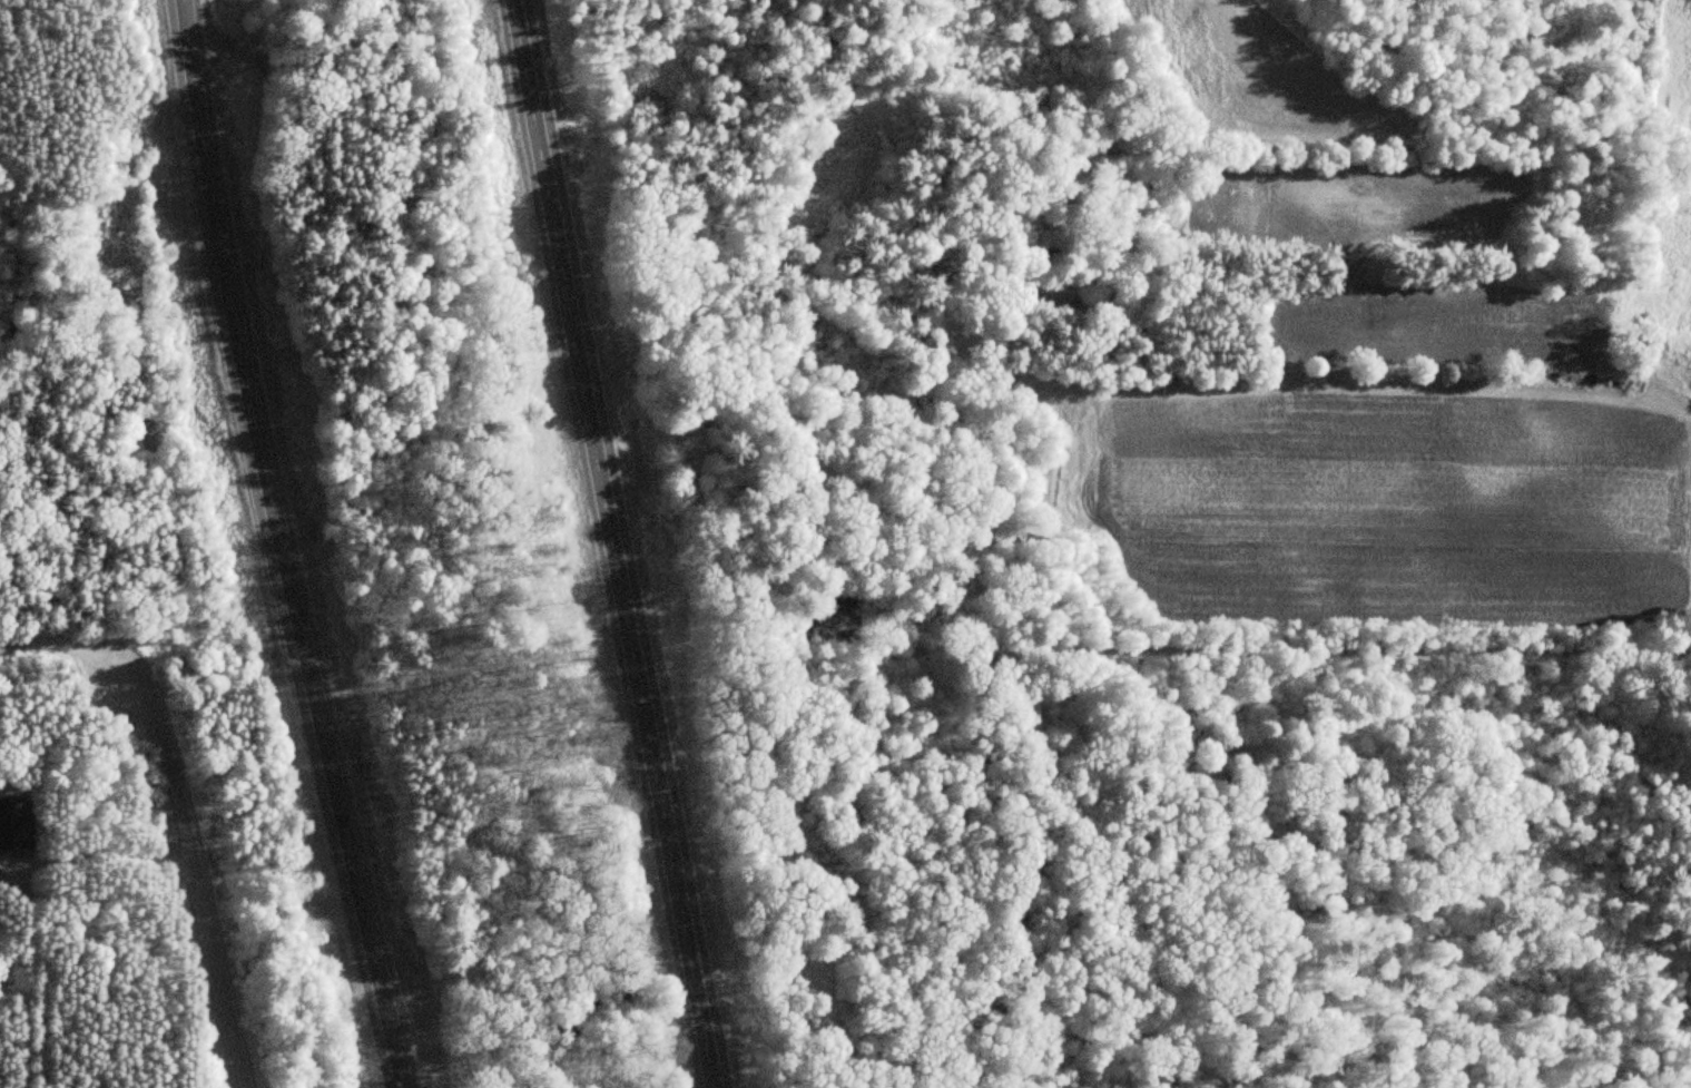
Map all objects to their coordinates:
road: (611, 543)
road: (278, 546)
road: (1408, 698)
road: (170, 801)
building: (16, 822)

